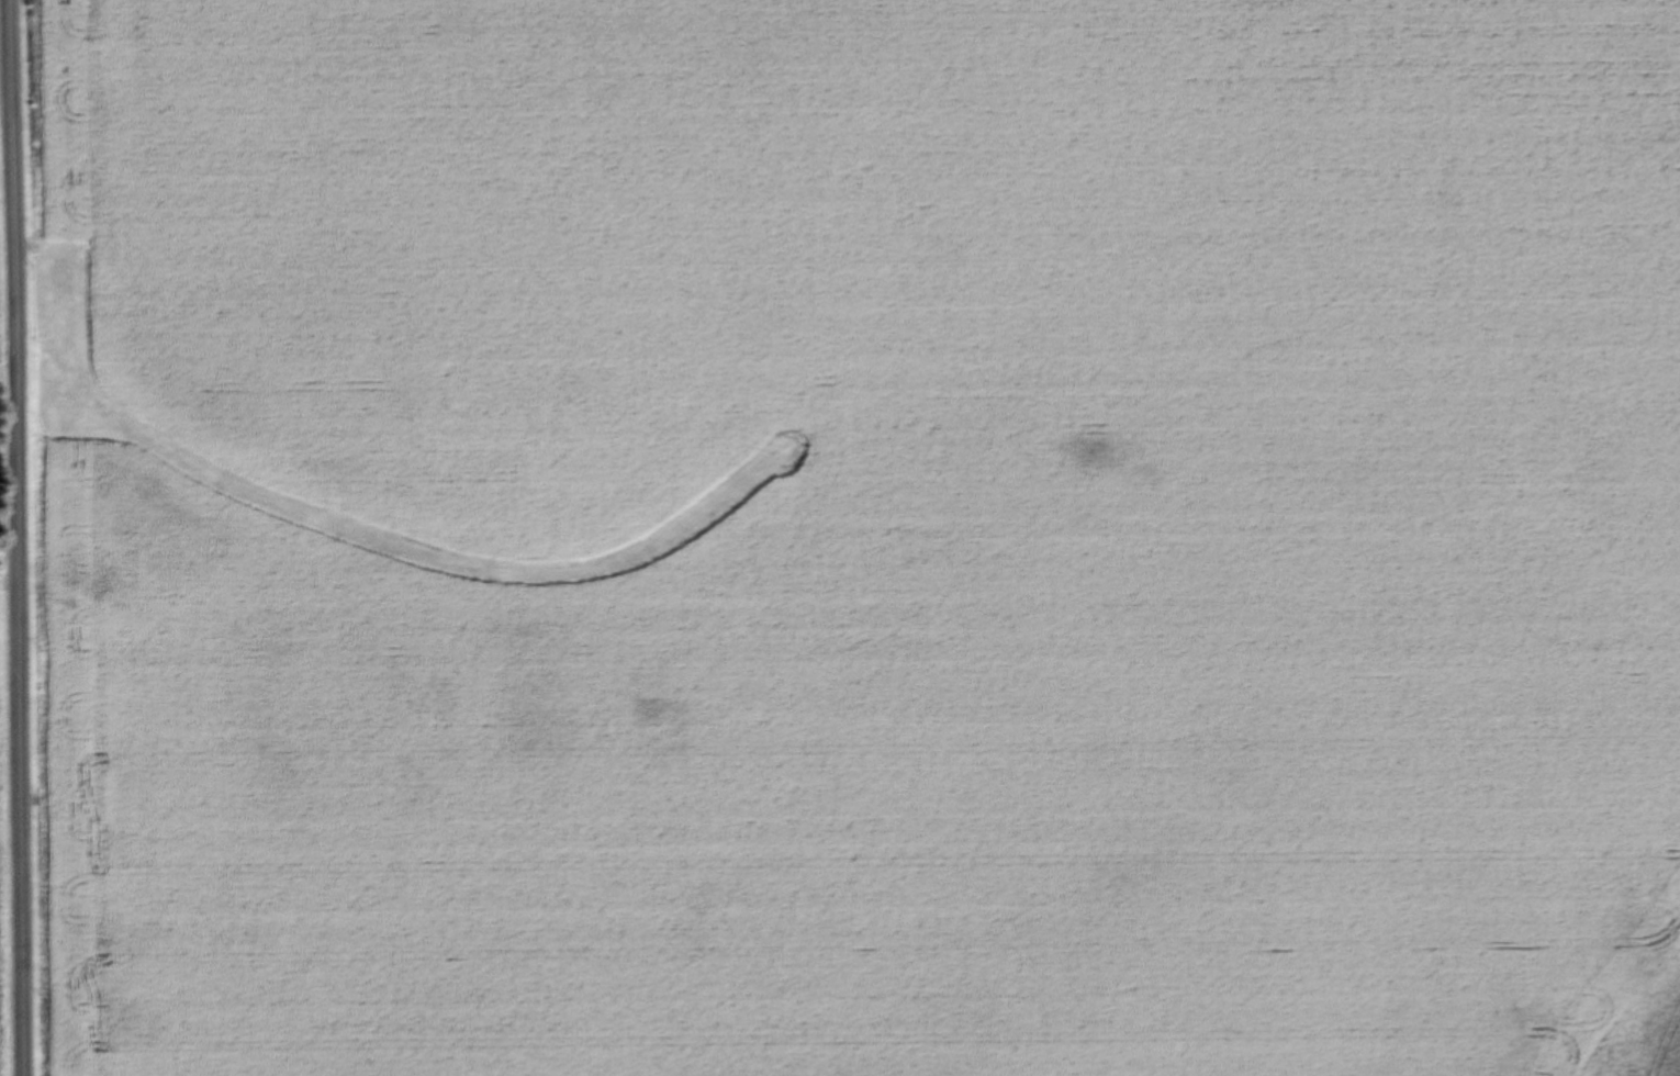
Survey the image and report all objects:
road: (18, 538)

